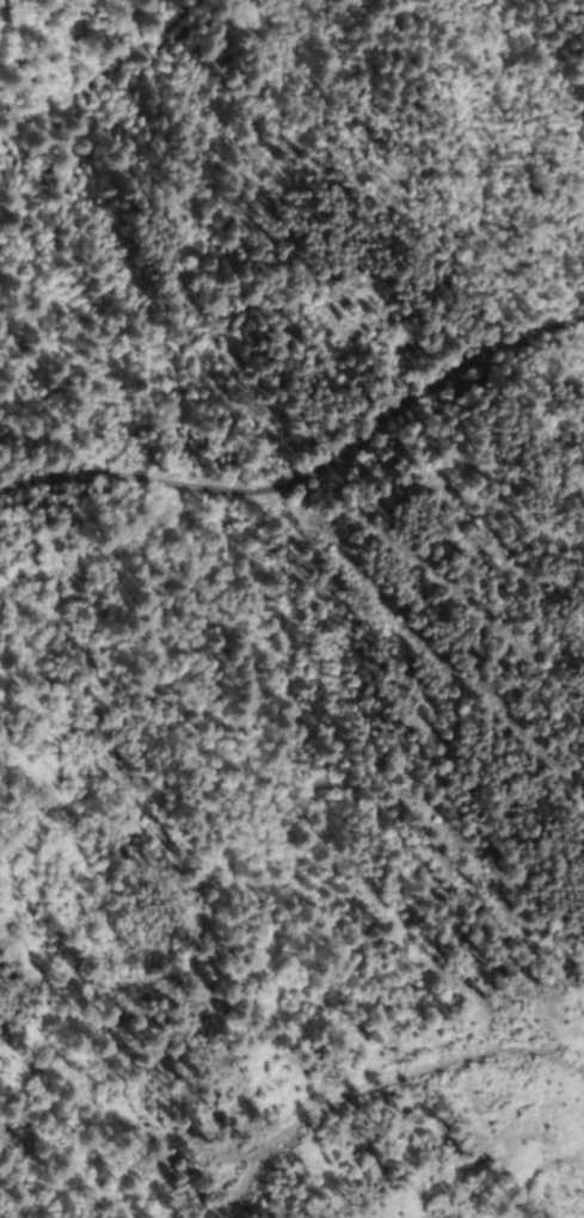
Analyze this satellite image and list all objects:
road: (307, 465)

